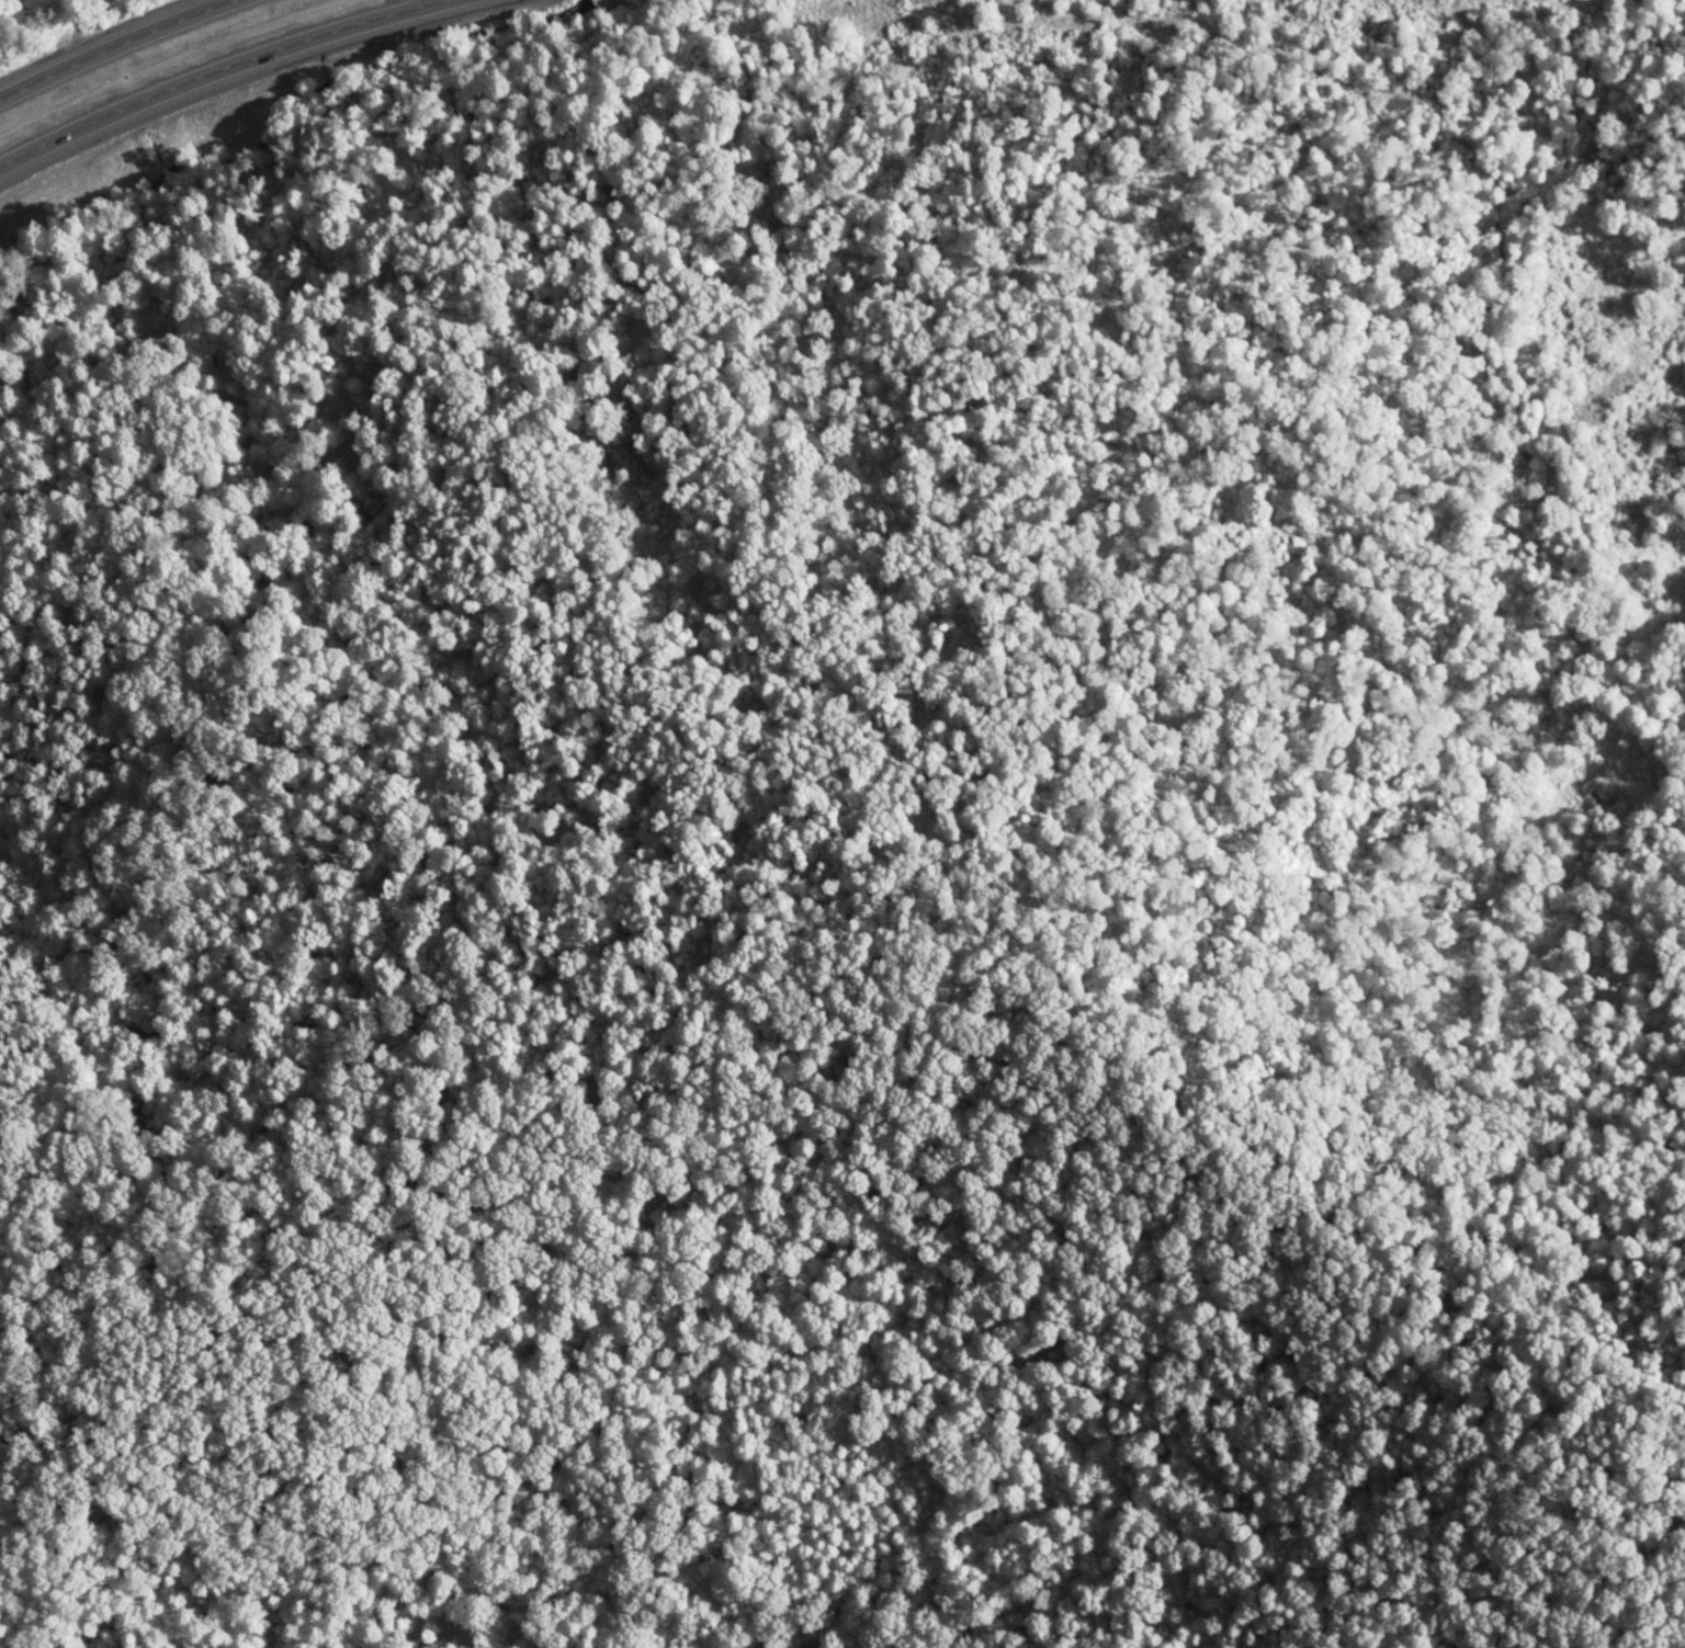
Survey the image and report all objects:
road: (111, 44)
road: (211, 69)

